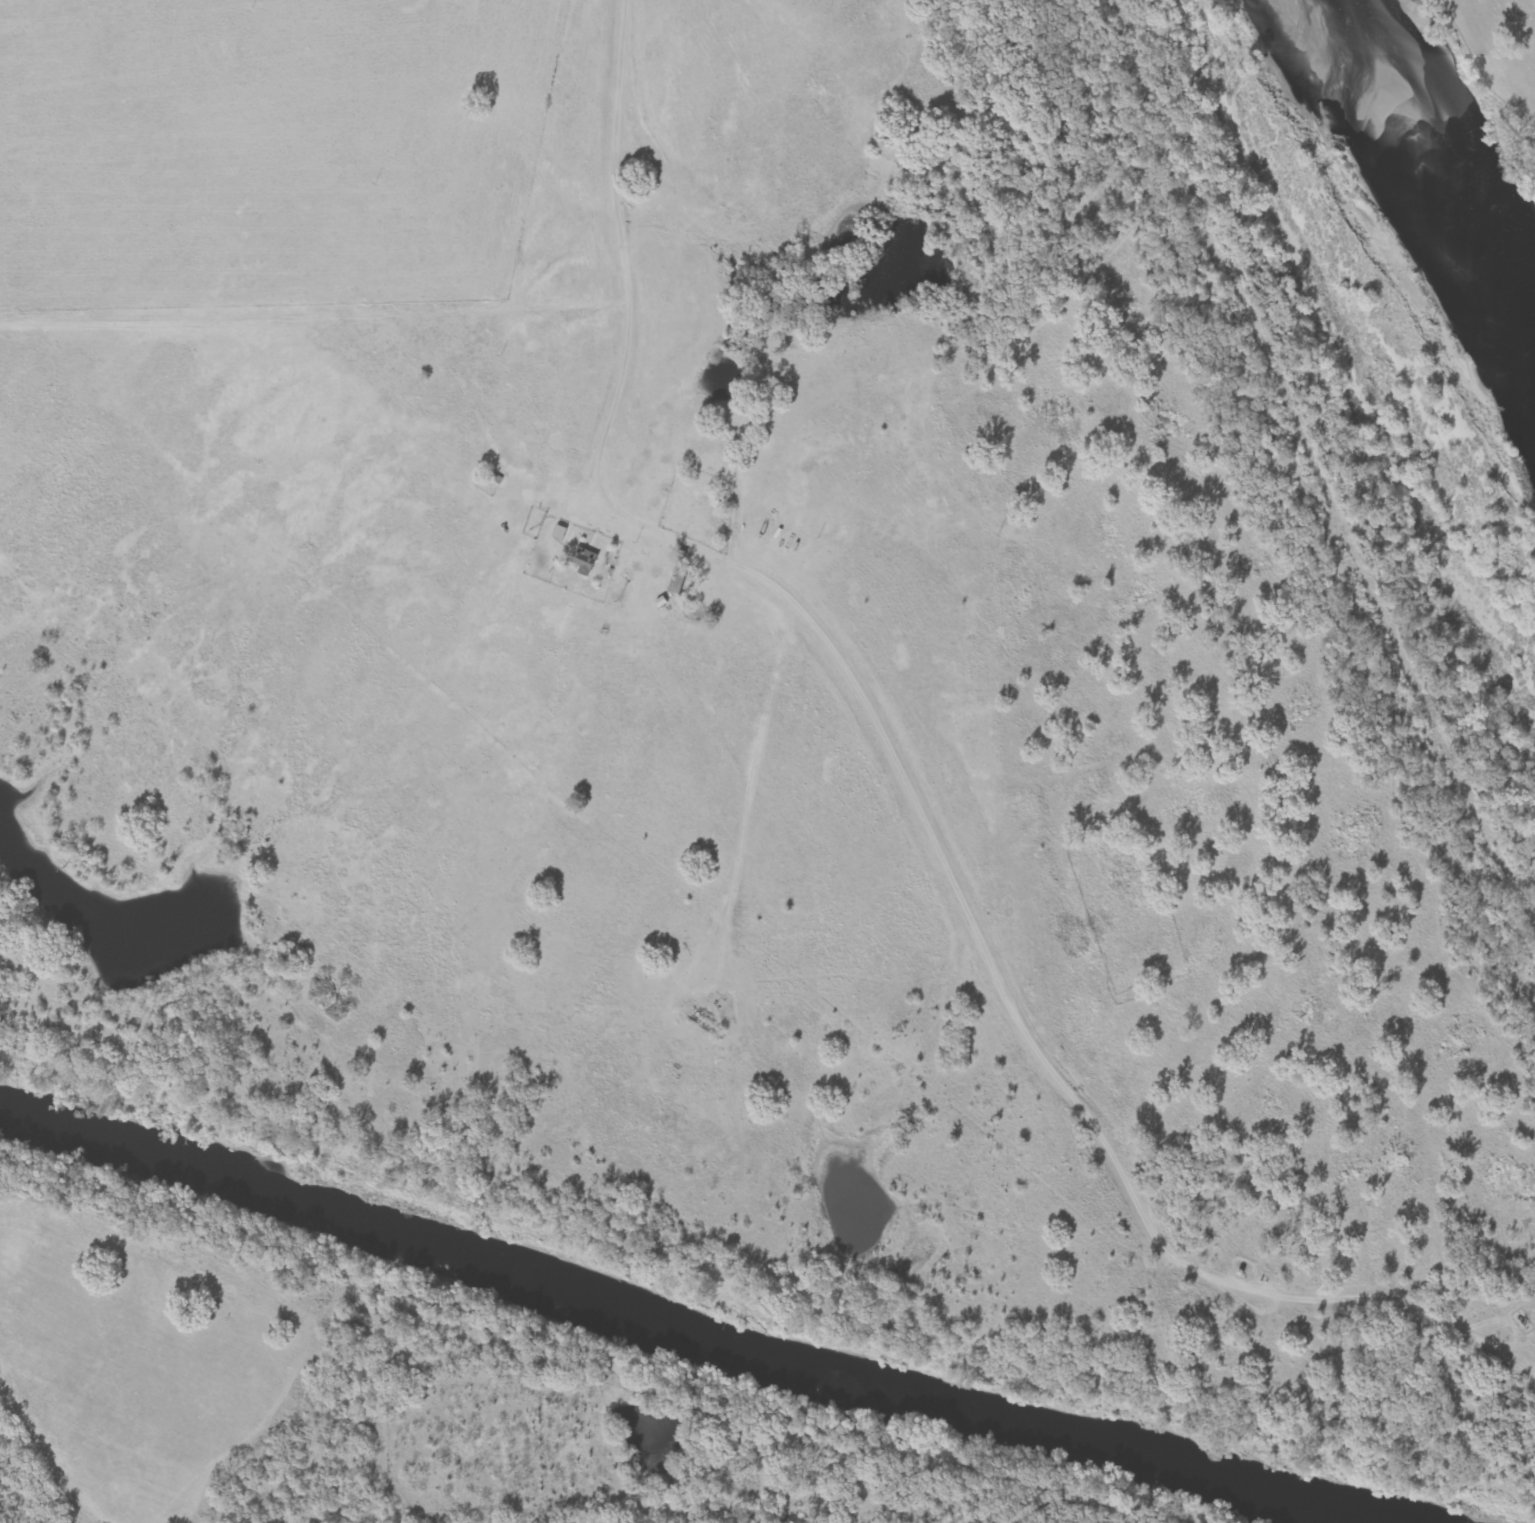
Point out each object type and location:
river: (1449, 152)
building: (584, 560)
building: (678, 581)
road: (897, 759)

